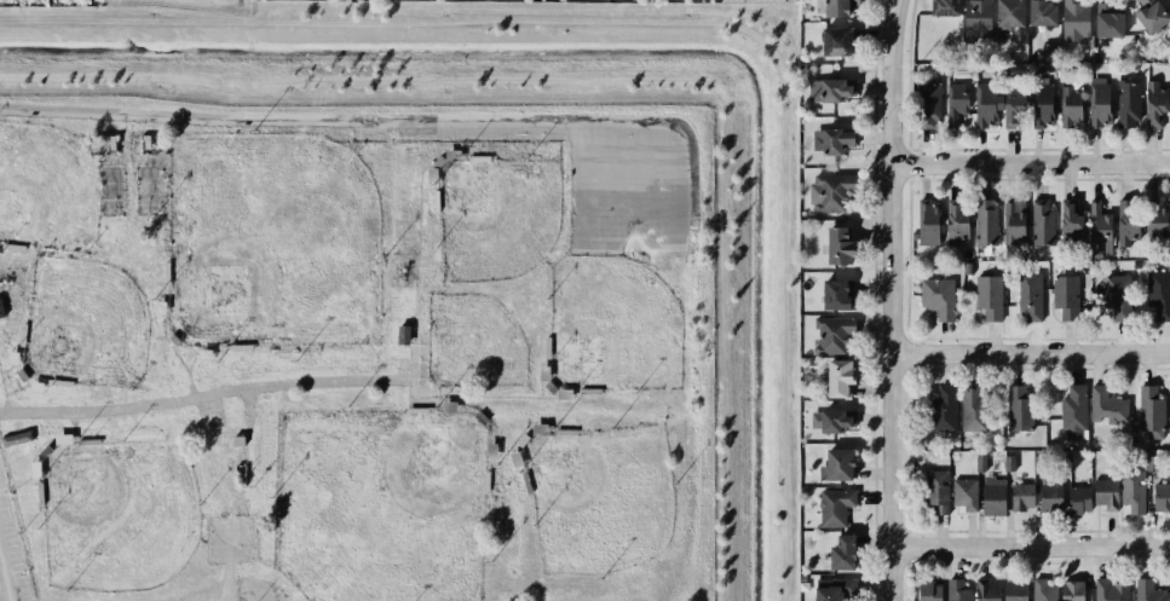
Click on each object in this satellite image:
park: (757, 1)
building: (838, 7)
building: (944, 7)
road: (895, 11)
building: (1010, 12)
building: (1043, 12)
building: (1152, 15)
building: (976, 19)
building: (1074, 19)
building: (1108, 21)
building: (837, 41)
building: (831, 89)
building: (927, 102)
building: (956, 102)
building: (1099, 102)
building: (1013, 103)
building: (1154, 103)
building: (985, 104)
building: (1041, 104)
building: (1128, 104)
building: (1070, 106)
road: (334, 119)
building: (832, 140)
road: (628, 161)
road: (1030, 164)
road: (576, 183)
road: (684, 183)
park: (46, 187)
building: (831, 190)
road: (629, 202)
building: (1013, 220)
building: (1128, 220)
building: (1157, 220)
park: (492, 221)
building: (928, 221)
building: (1071, 221)
building: (956, 223)
building: (985, 223)
building: (1042, 223)
building: (1099, 224)
building: (838, 244)
road: (629, 245)
park: (267, 247)
building: (1096, 253)
road: (416, 259)
building: (1135, 264)
building: (967, 267)
building: (837, 293)
building: (1158, 293)
building: (1030, 295)
building: (1065, 295)
building: (938, 296)
building: (987, 296)
building: (1117, 296)
road: (891, 311)
park: (79, 324)
park: (611, 330)
building: (832, 334)
road: (169, 342)
park: (473, 345)
road: (1030, 356)
road: (191, 359)
road: (10, 364)
building: (840, 377)
road: (2, 383)
road: (190, 383)
road: (421, 386)
road: (16, 387)
road: (540, 388)
road: (443, 394)
road: (498, 394)
road: (207, 395)
road: (547, 395)
road: (5, 400)
building: (1106, 405)
building: (943, 408)
building: (1018, 408)
building: (972, 409)
building: (1073, 410)
building: (1149, 411)
building: (831, 420)
road: (73, 424)
building: (17, 439)
road: (42, 444)
building: (979, 462)
building: (1065, 462)
building: (1008, 463)
building: (1036, 463)
building: (1151, 463)
building: (836, 464)
road: (19, 481)
building: (935, 490)
building: (1132, 490)
building: (964, 492)
building: (1105, 492)
building: (992, 496)
building: (1020, 496)
building: (1162, 496)
building: (1049, 497)
building: (1077, 498)
building: (834, 504)
park: (379, 505)
park: (595, 507)
park: (115, 516)
road: (1031, 547)
building: (843, 553)
parking lot: (11, 554)
road: (4, 582)
building: (834, 588)
building: (928, 590)
building: (957, 590)
building: (985, 590)
building: (1014, 590)
building: (1043, 590)
building: (1072, 590)
building: (1110, 590)
building: (1148, 590)

